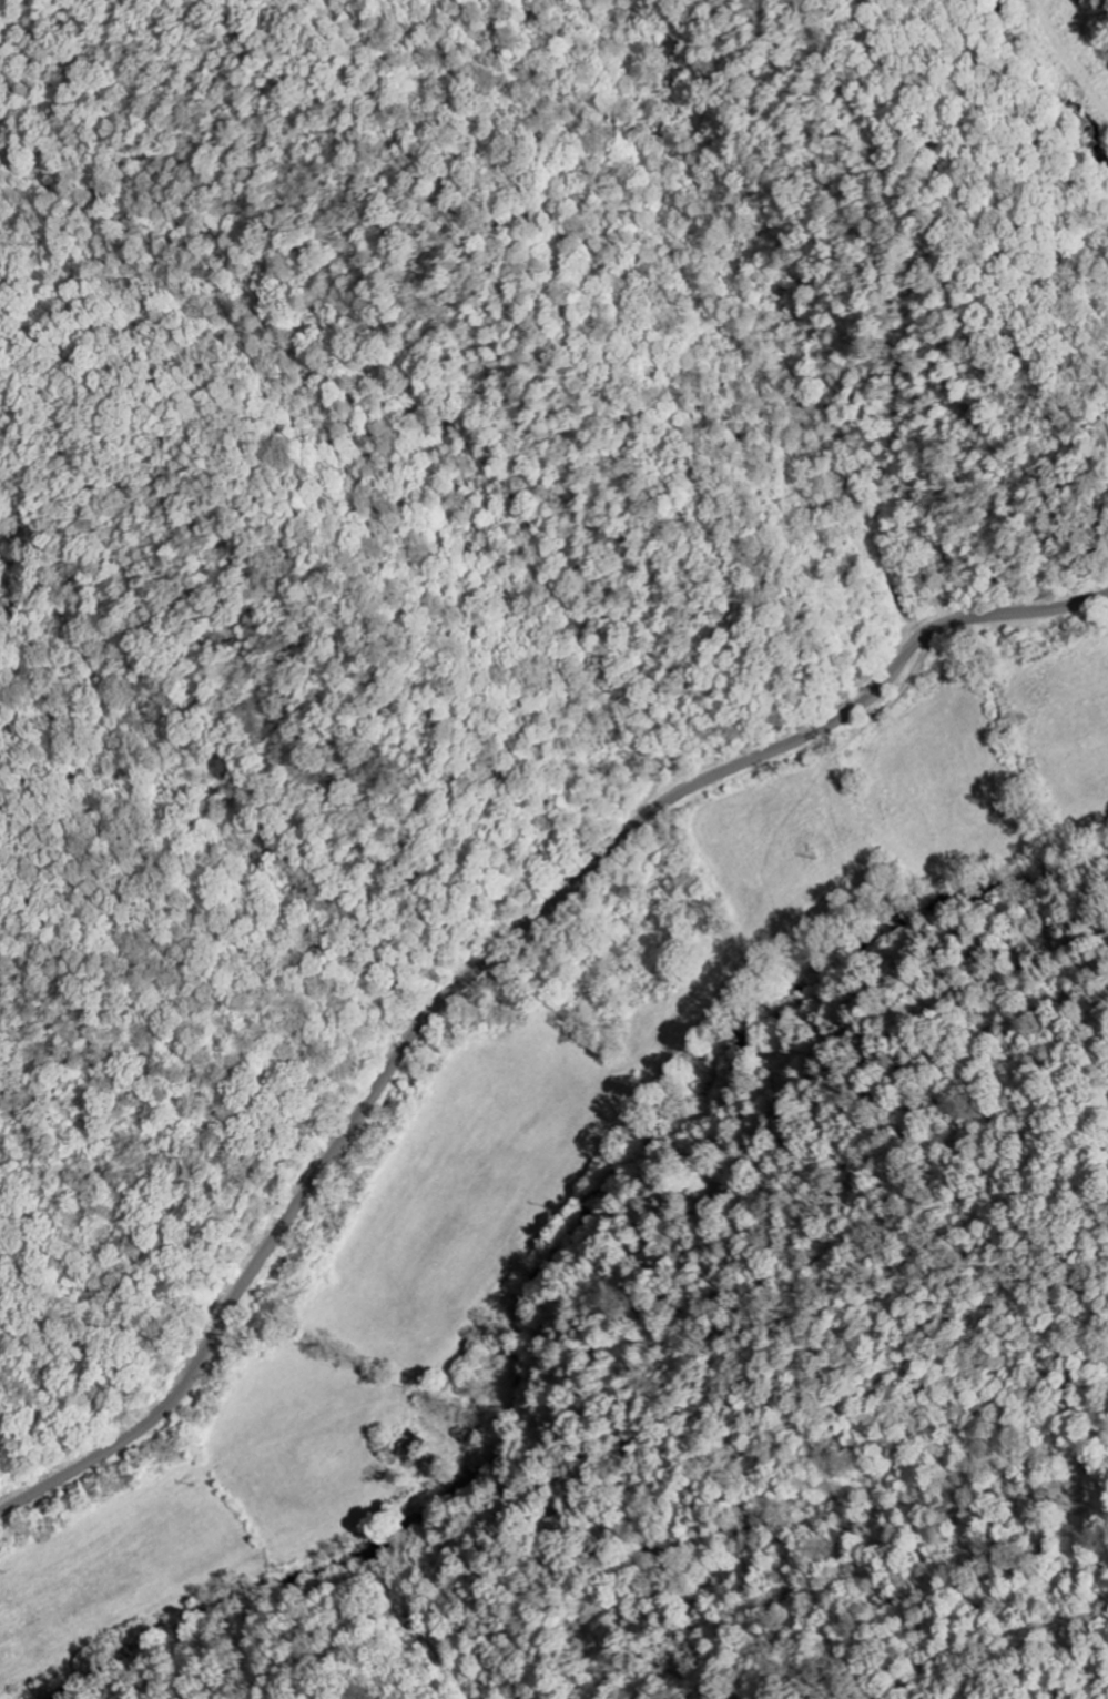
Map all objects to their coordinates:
road: (1105, 4)
road: (485, 962)

